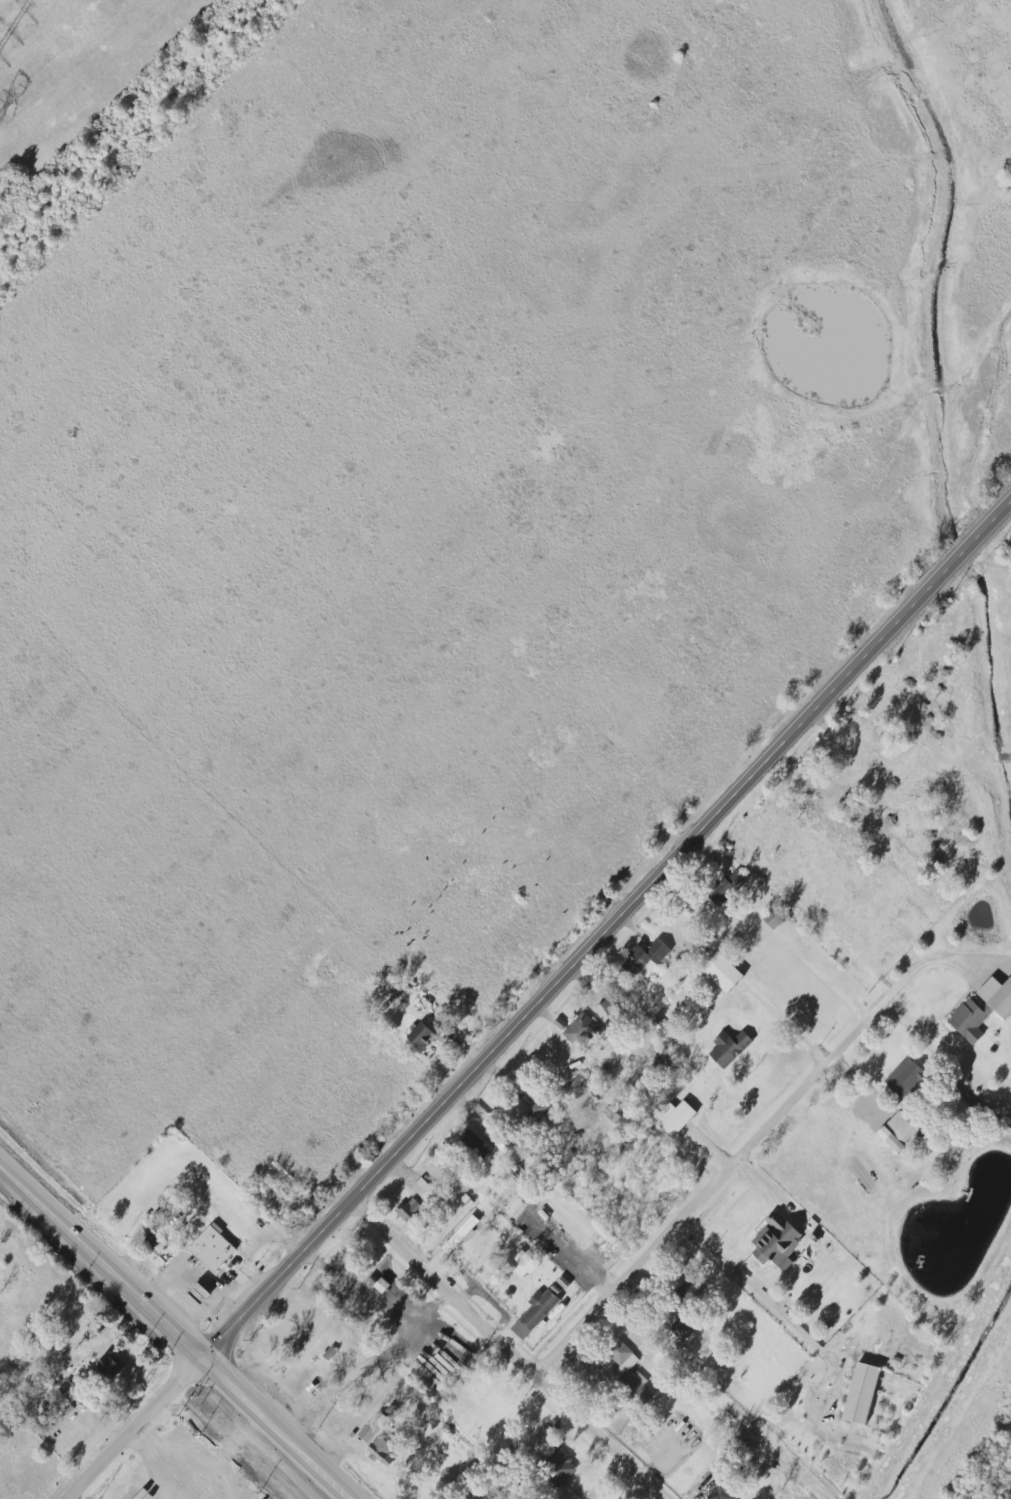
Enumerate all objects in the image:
railway: (121, 117)
building: (728, 888)
building: (776, 919)
road: (610, 933)
building: (648, 954)
road: (919, 965)
building: (998, 996)
building: (609, 1016)
building: (972, 1019)
building: (581, 1030)
building: (423, 1035)
building: (730, 1048)
building: (906, 1078)
building: (542, 1110)
building: (677, 1117)
building: (899, 1131)
building: (425, 1191)
road: (709, 1191)
building: (410, 1210)
building: (462, 1236)
building: (777, 1239)
building: (158, 1242)
building: (214, 1248)
building: (526, 1264)
road: (447, 1284)
building: (689, 1290)
road: (761, 1292)
road: (382, 1299)
building: (537, 1313)
building: (683, 1323)
road: (180, 1329)
building: (112, 1365)
building: (628, 1370)
road: (354, 1380)
building: (864, 1394)
road: (137, 1426)
building: (369, 1430)
building: (544, 1434)
road: (605, 1434)
building: (382, 1451)
road: (172, 1464)
building: (562, 1468)
building: (722, 1493)

